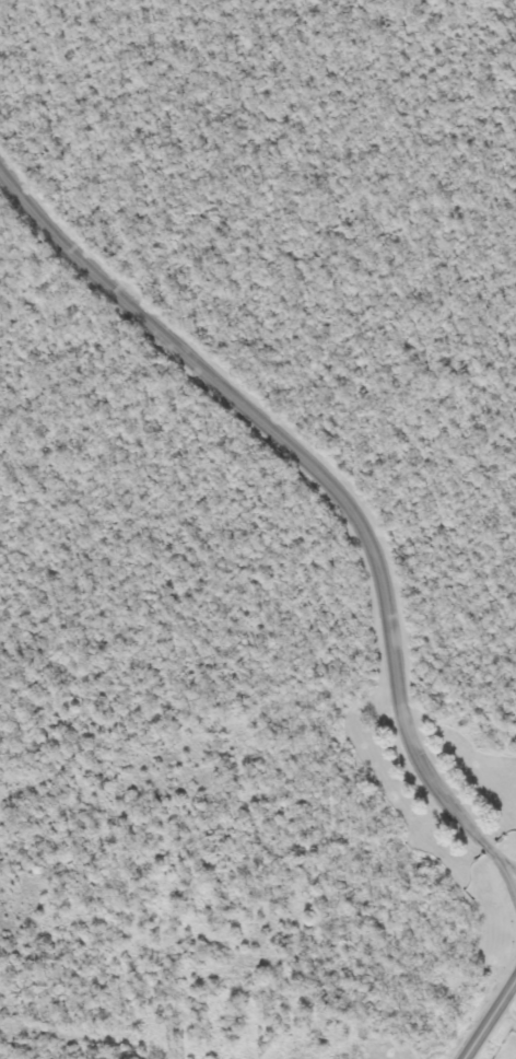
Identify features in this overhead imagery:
road: (332, 487)
park: (260, 519)
road: (511, 871)
road: (505, 1010)
road: (485, 1016)

